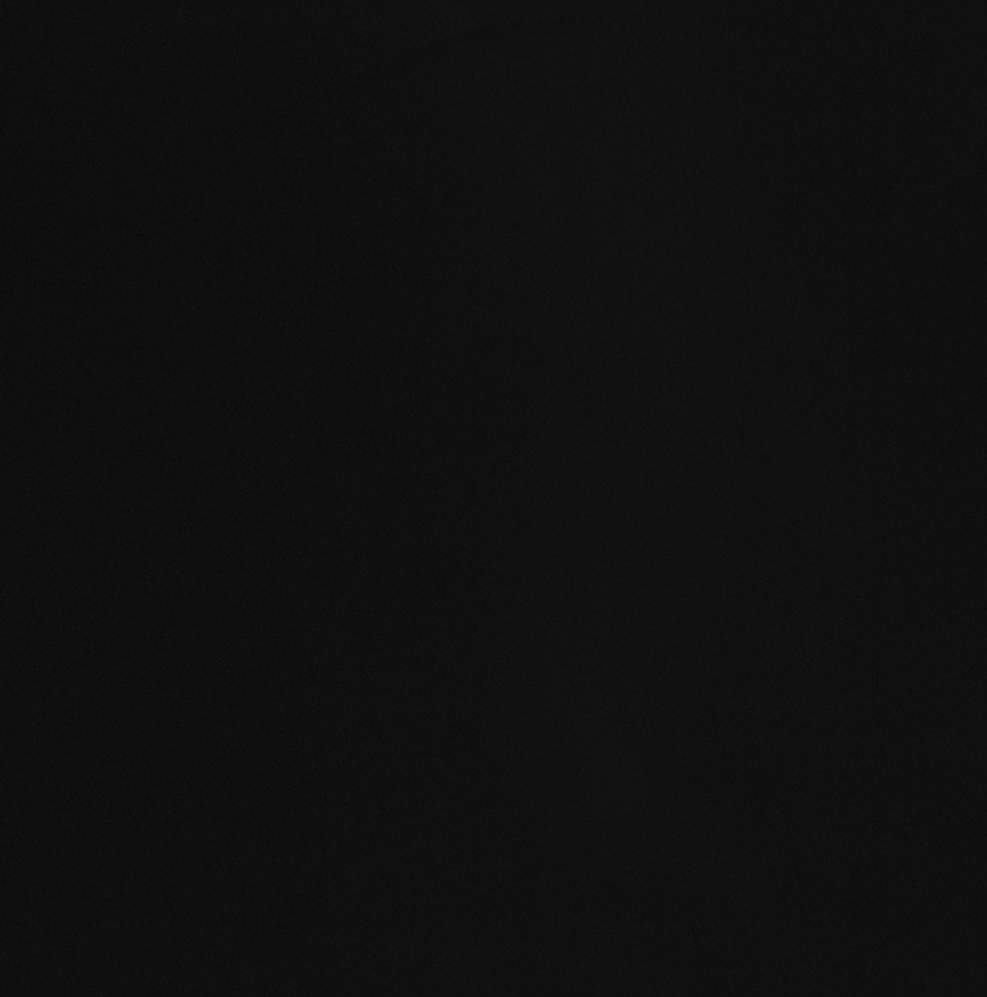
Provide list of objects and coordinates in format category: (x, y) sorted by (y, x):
river: (238, 582)
river: (693, 834)

